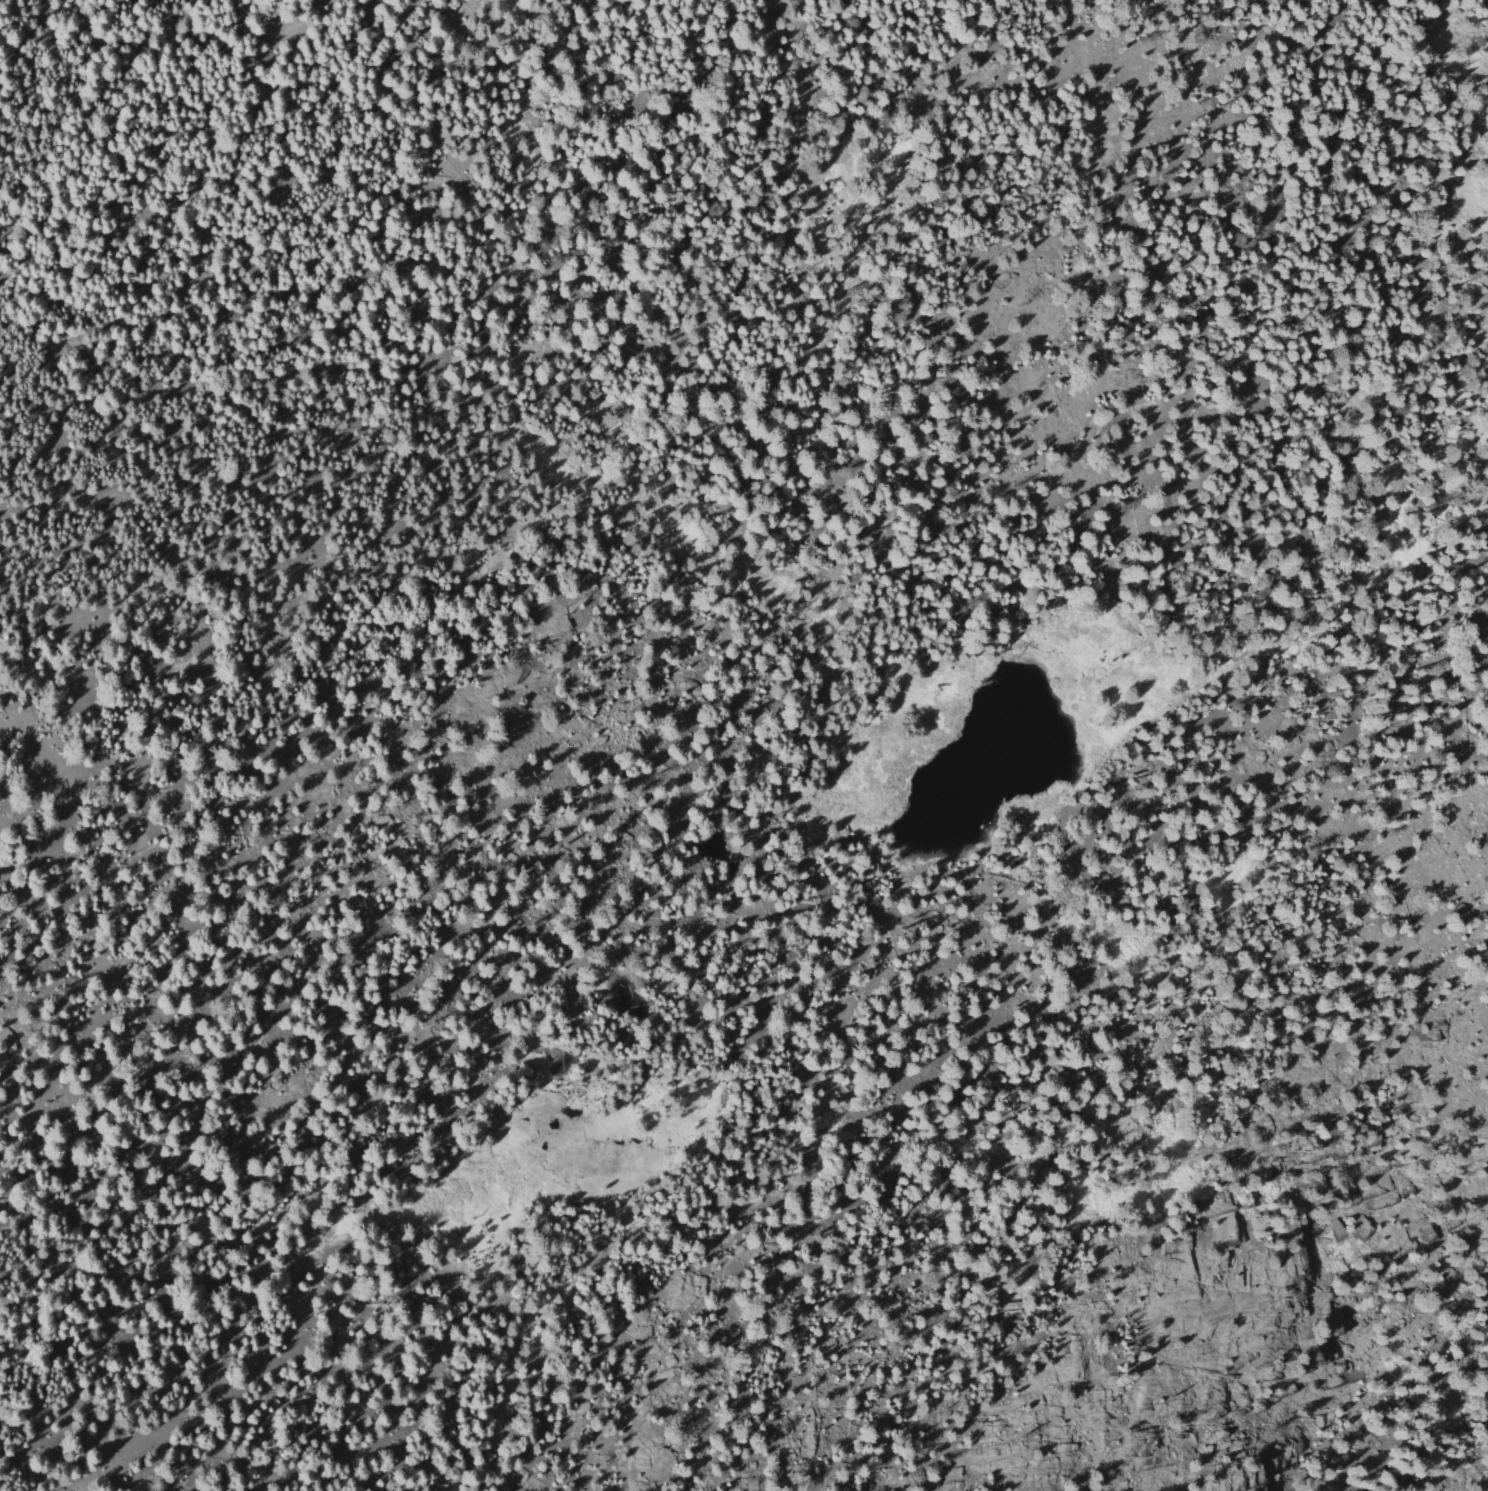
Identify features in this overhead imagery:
road: (611, 433)

